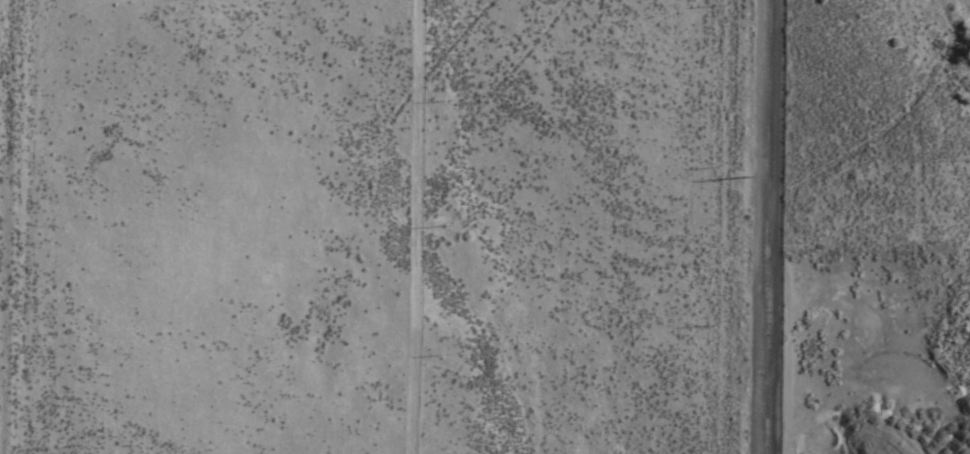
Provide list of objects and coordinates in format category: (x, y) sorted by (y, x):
road: (763, 226)

